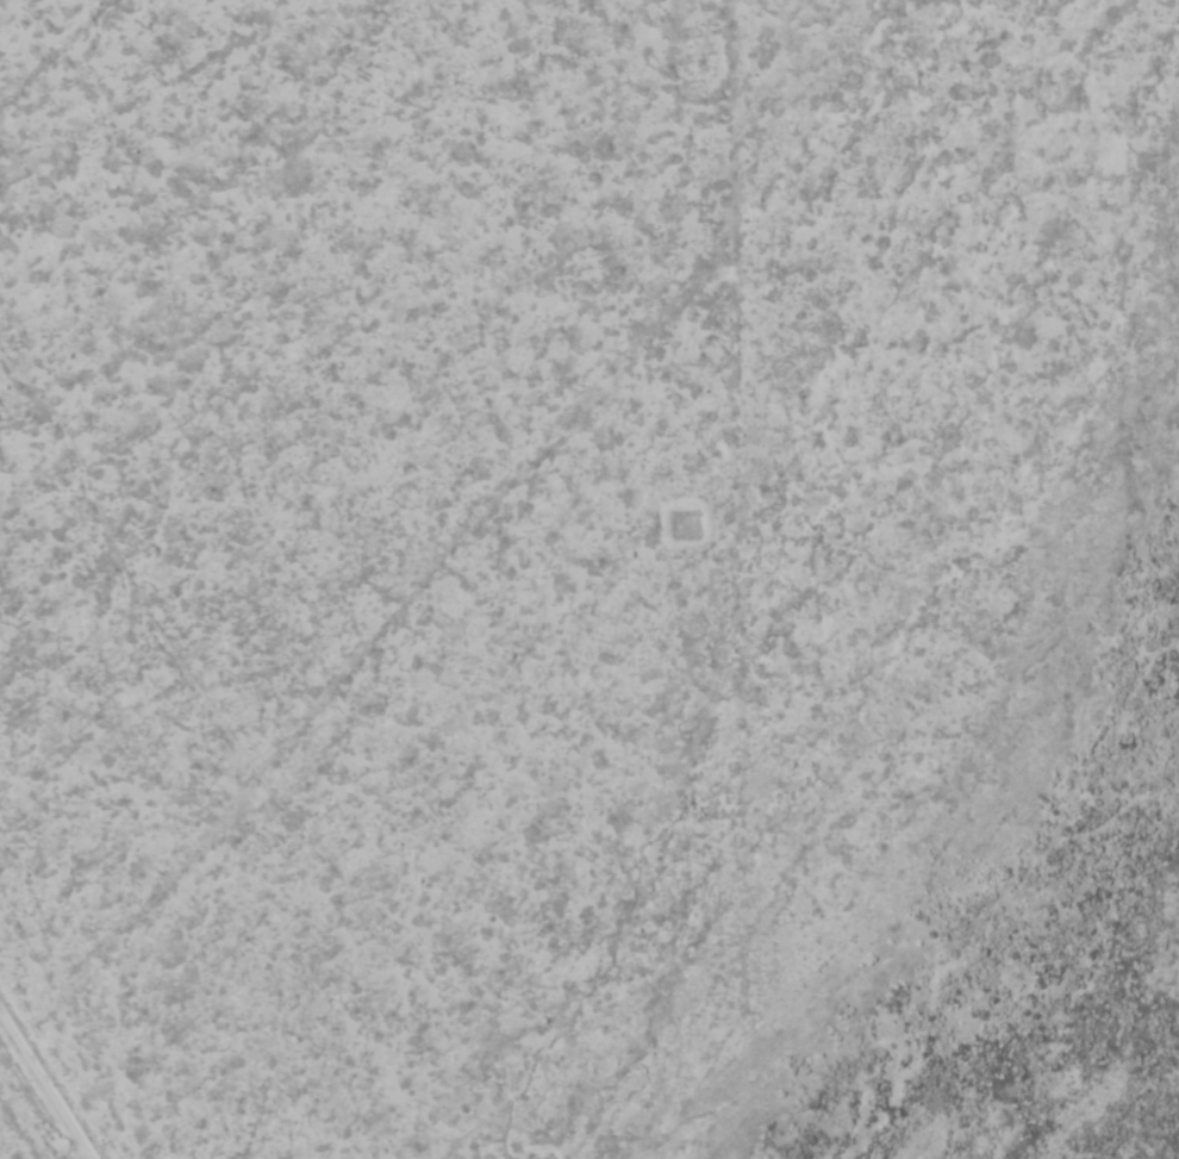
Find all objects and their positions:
road: (30, 1110)

